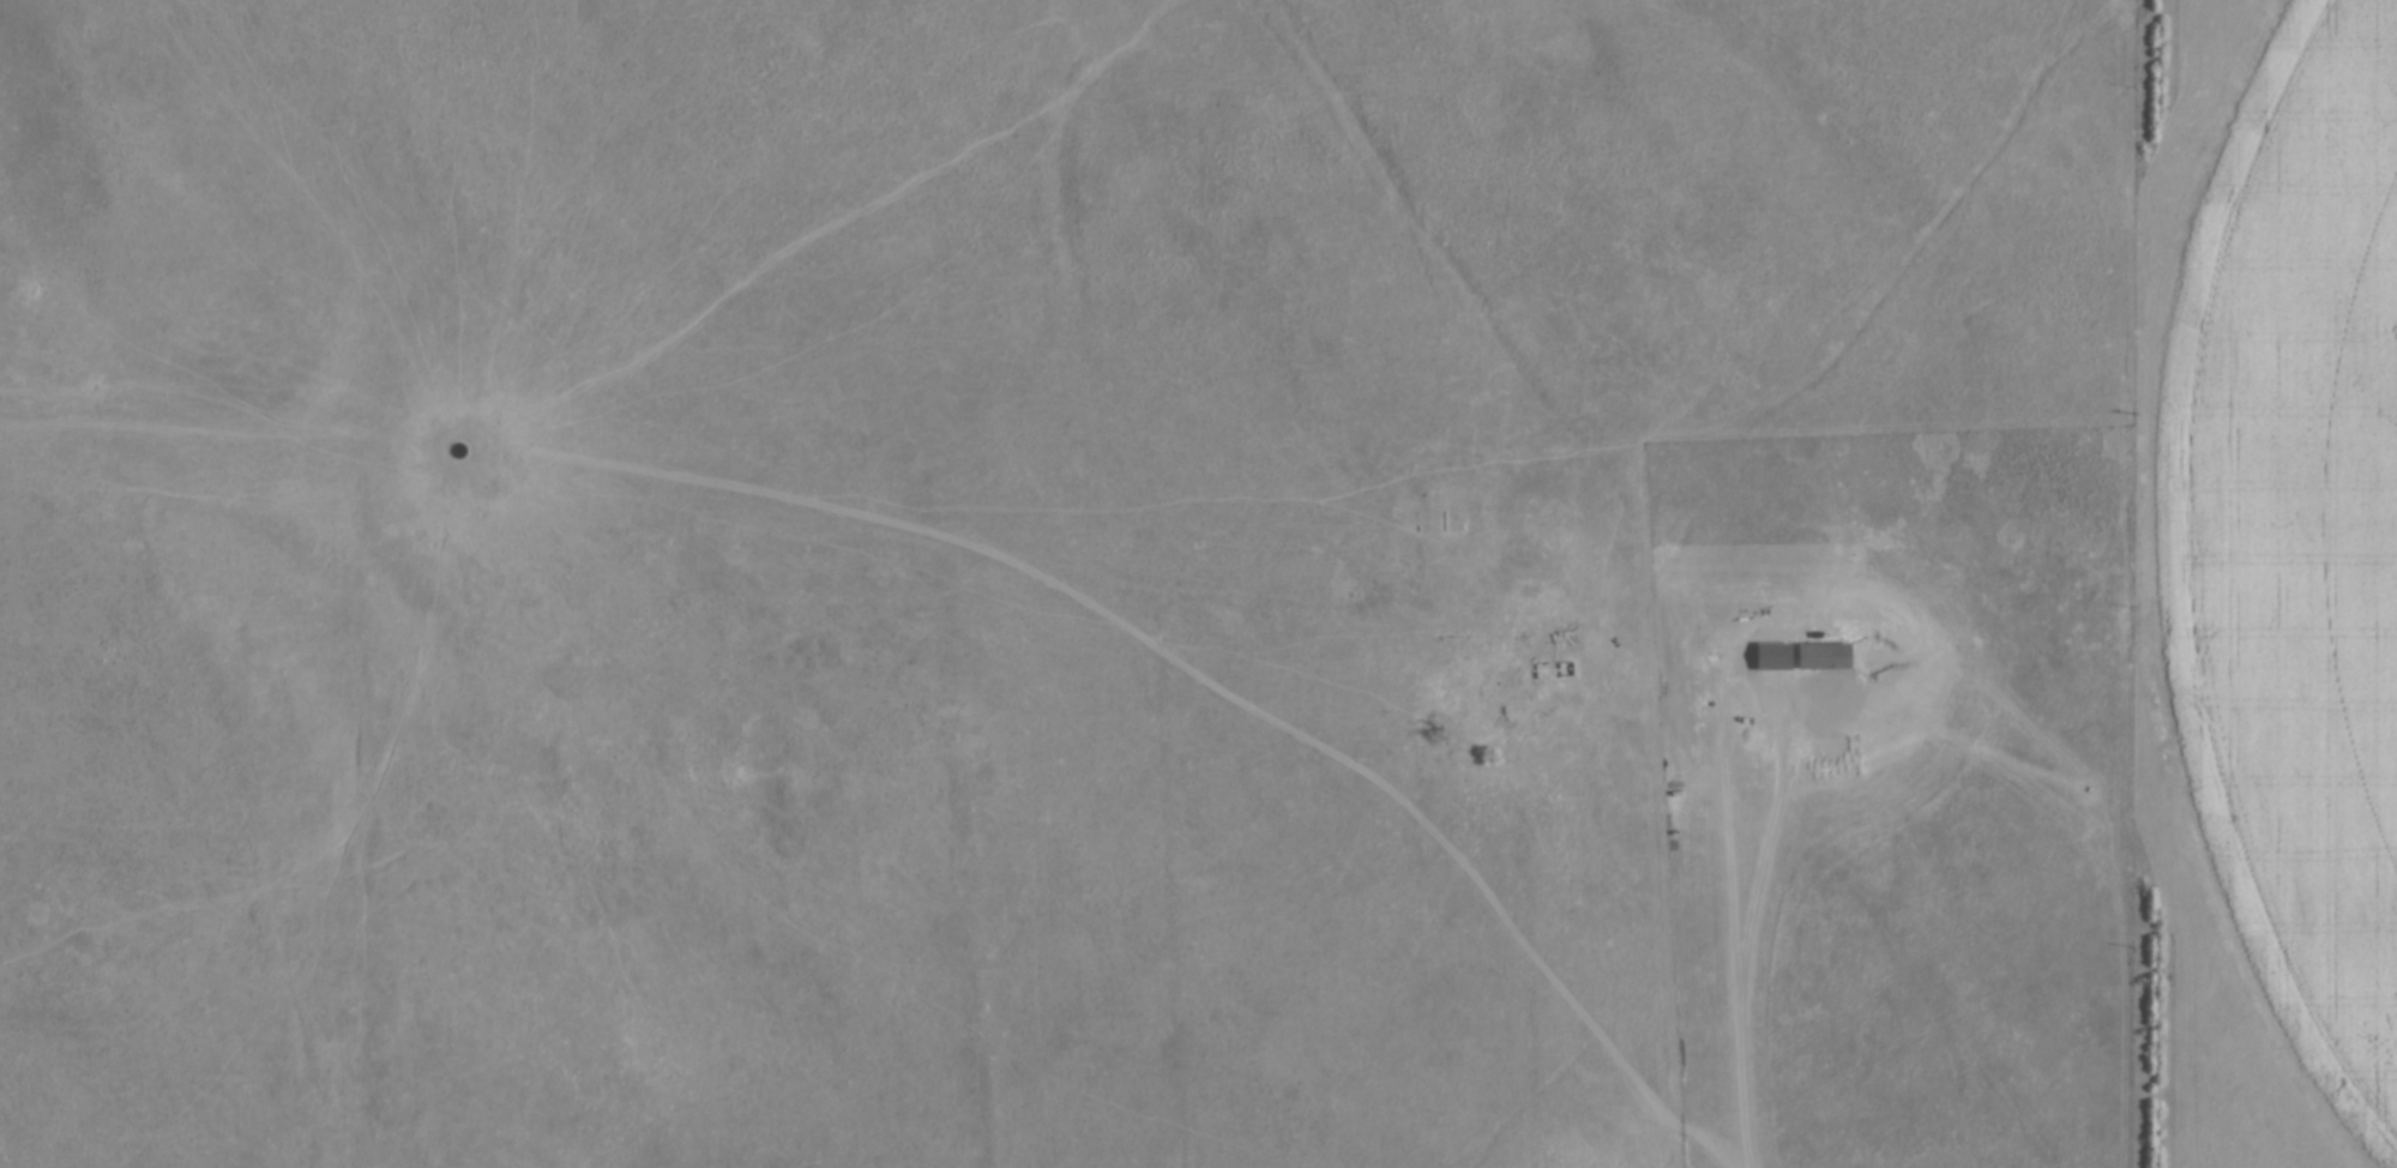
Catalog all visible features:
crop: (2291, 535)

